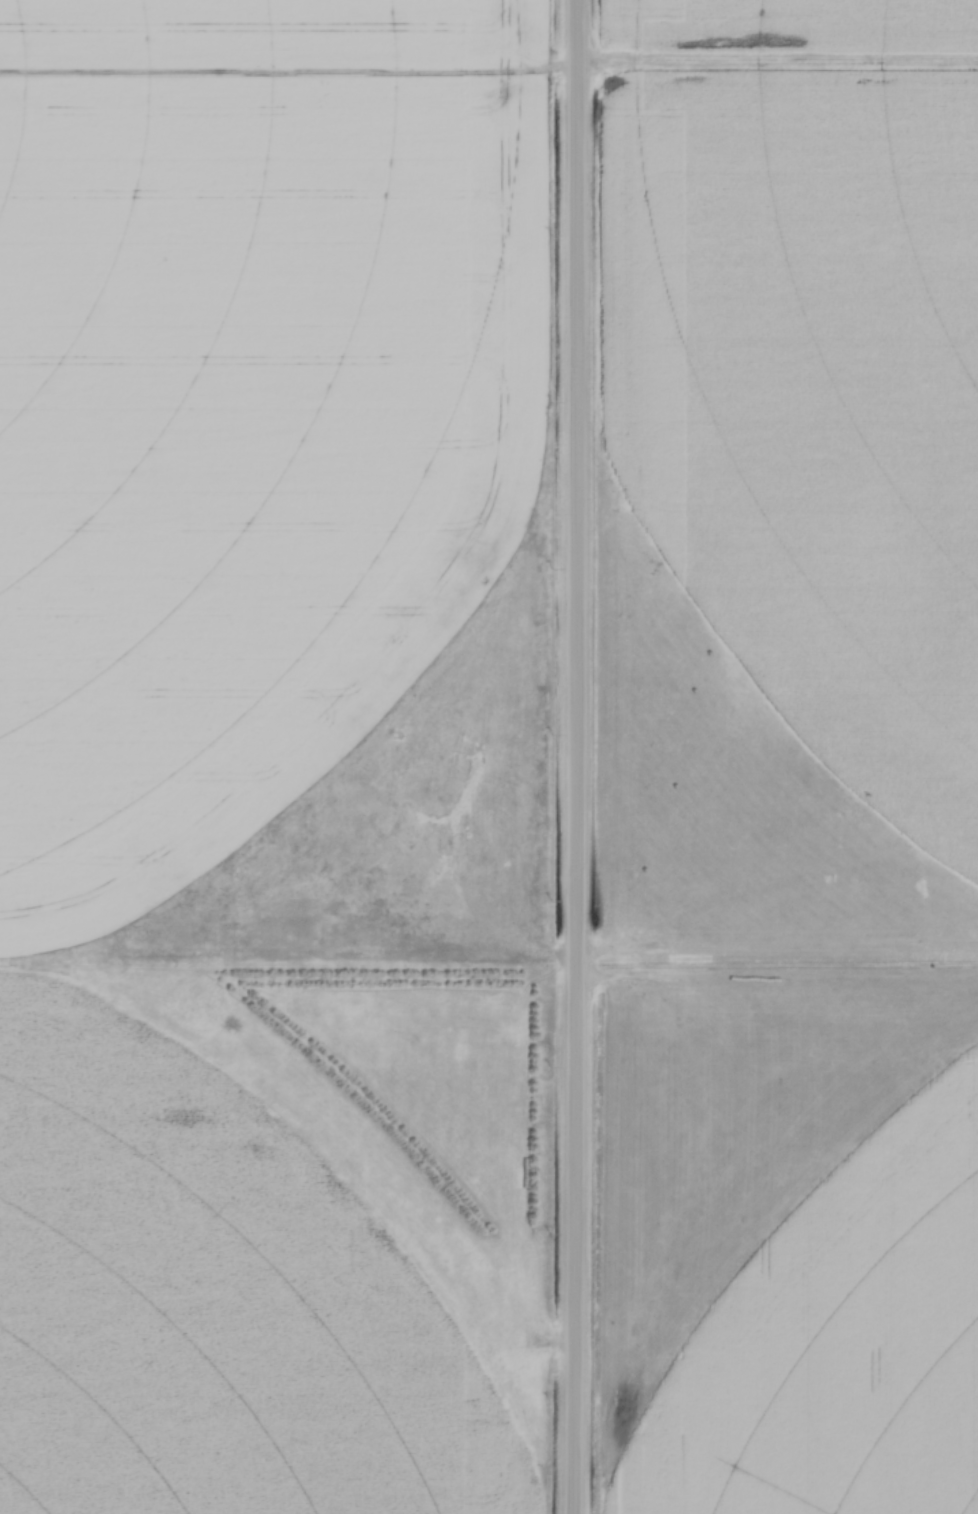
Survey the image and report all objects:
road: (571, 757)

